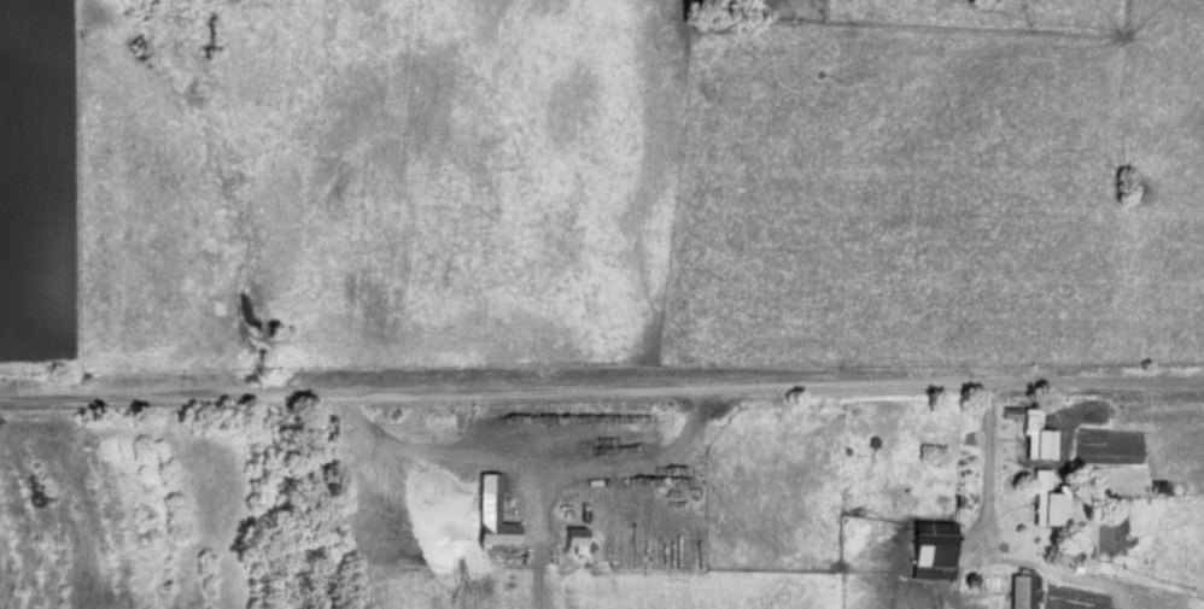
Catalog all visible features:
road: (602, 391)
road: (987, 453)
building: (1047, 500)
building: (931, 550)
building: (1021, 591)

